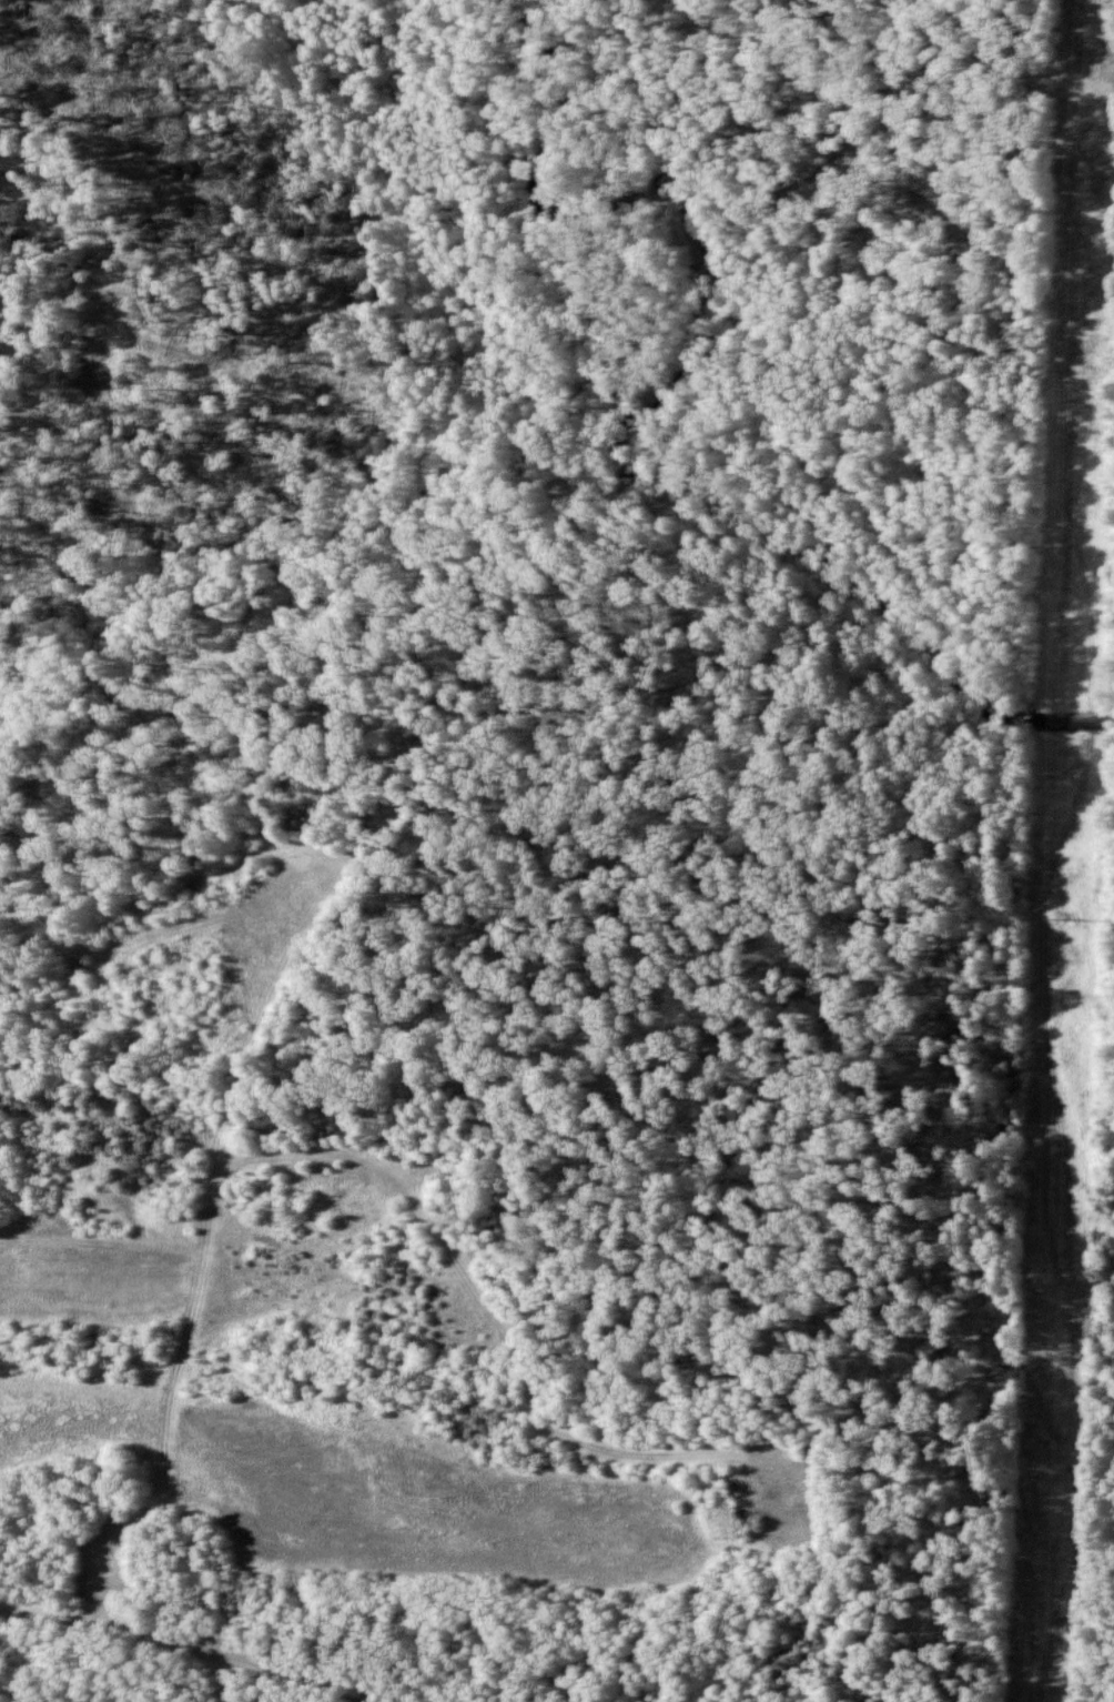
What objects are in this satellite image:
road: (111, 1582)
parking lot: (100, 1609)
road: (191, 1645)

